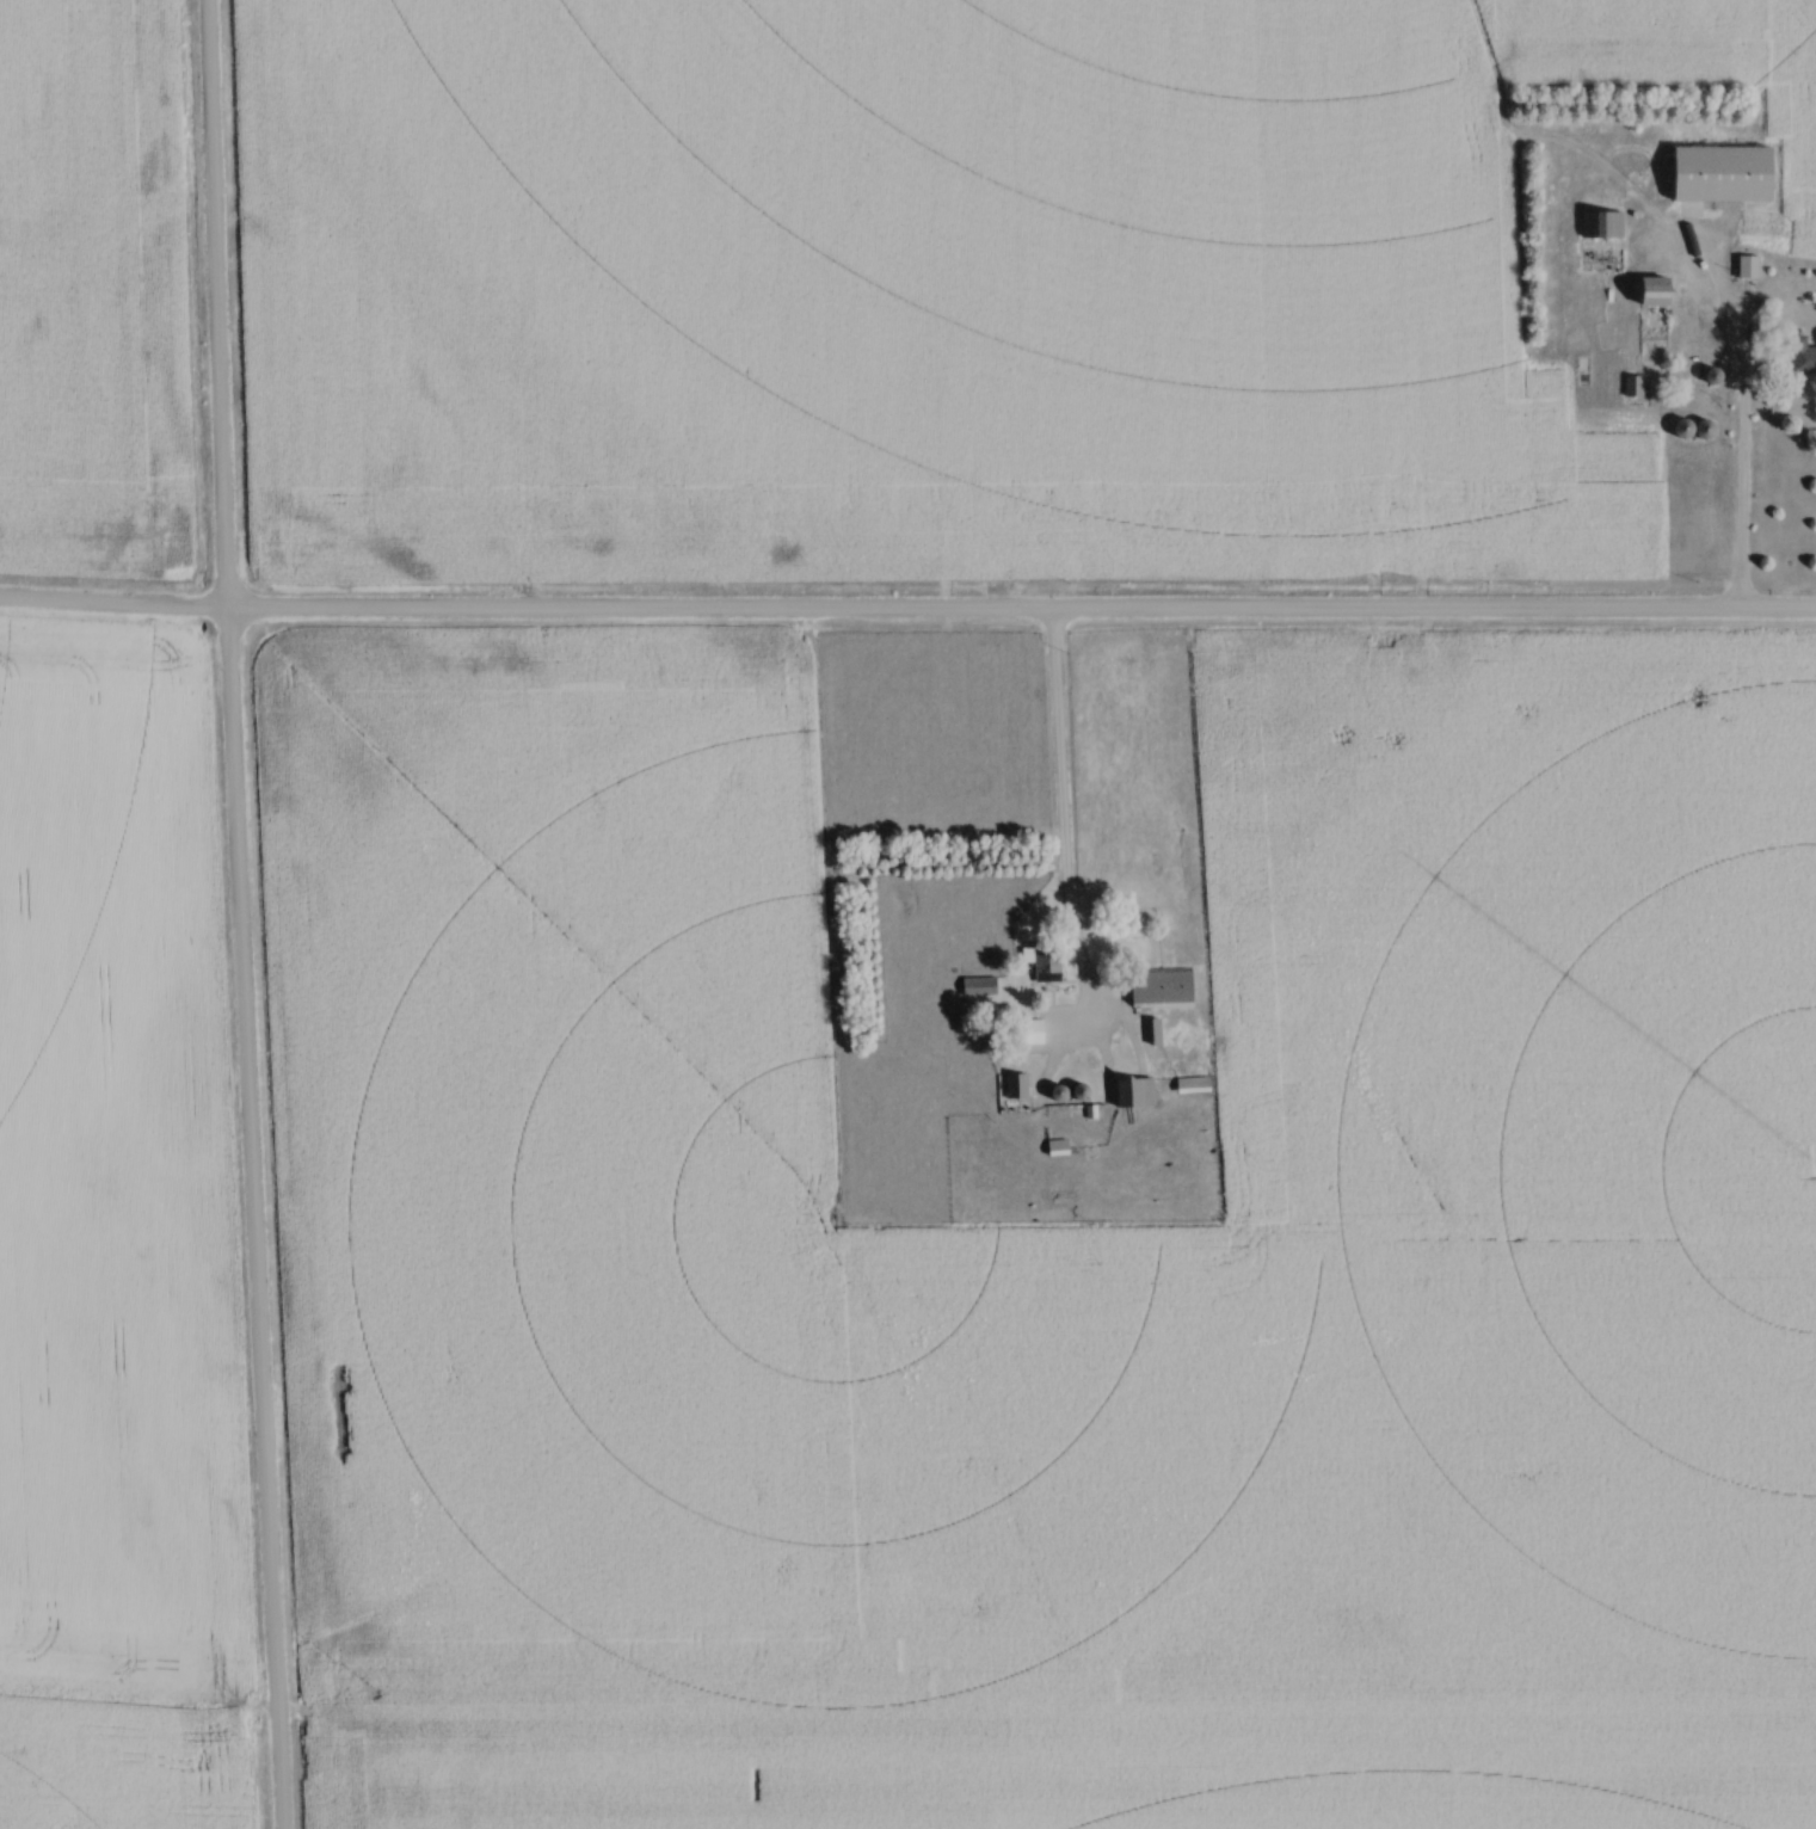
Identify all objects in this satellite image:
building: (1704, 174)
building: (1606, 226)
building: (1752, 267)
building: (1662, 292)
building: (1805, 357)
building: (1637, 387)
road: (1741, 480)
road: (907, 611)
road: (1060, 807)
road: (240, 914)
building: (1048, 963)
building: (983, 987)
building: (1166, 989)
building: (1036, 1033)
building: (1171, 1070)
building: (1020, 1088)
building: (1198, 1088)
building: (1141, 1095)

